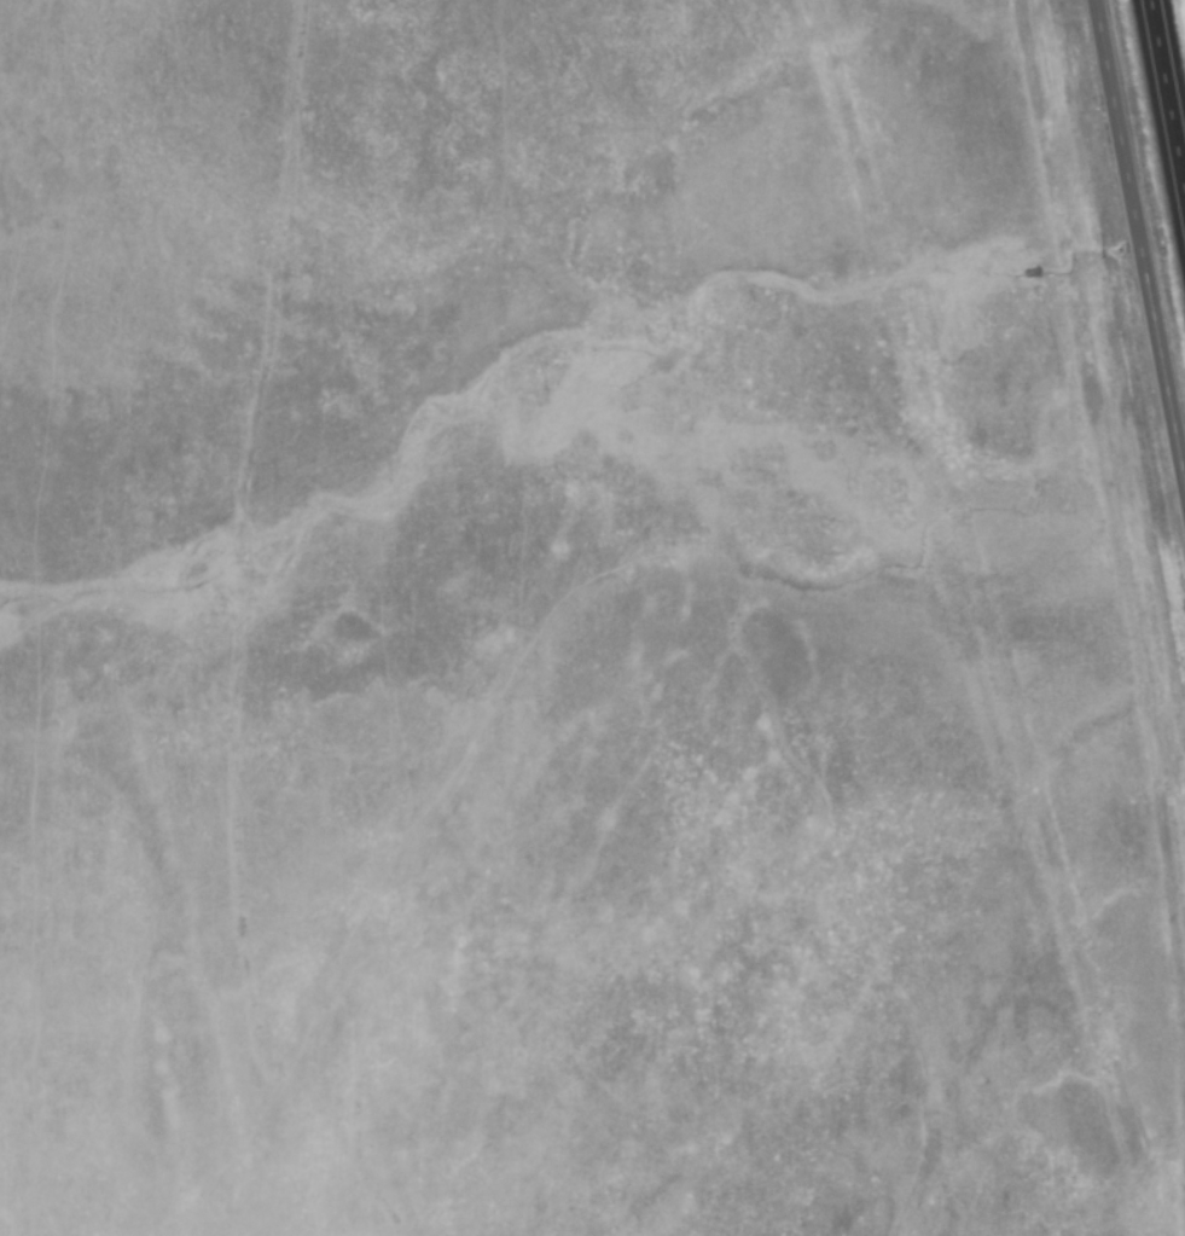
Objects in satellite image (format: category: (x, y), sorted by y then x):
road: (1166, 103)
road: (1137, 259)
railway: (1113, 436)

